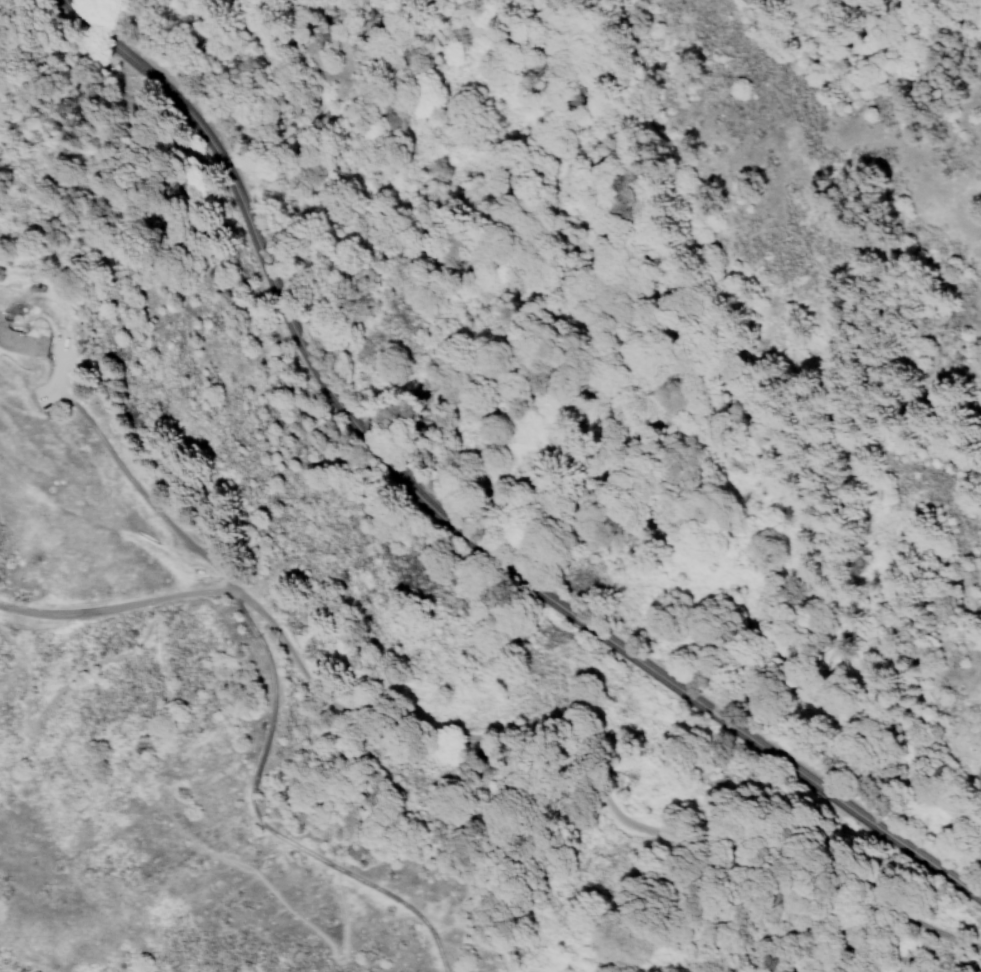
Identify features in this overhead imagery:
road: (104, 484)
road: (446, 521)
road: (87, 524)
road: (481, 755)
road: (252, 825)
road: (191, 842)

